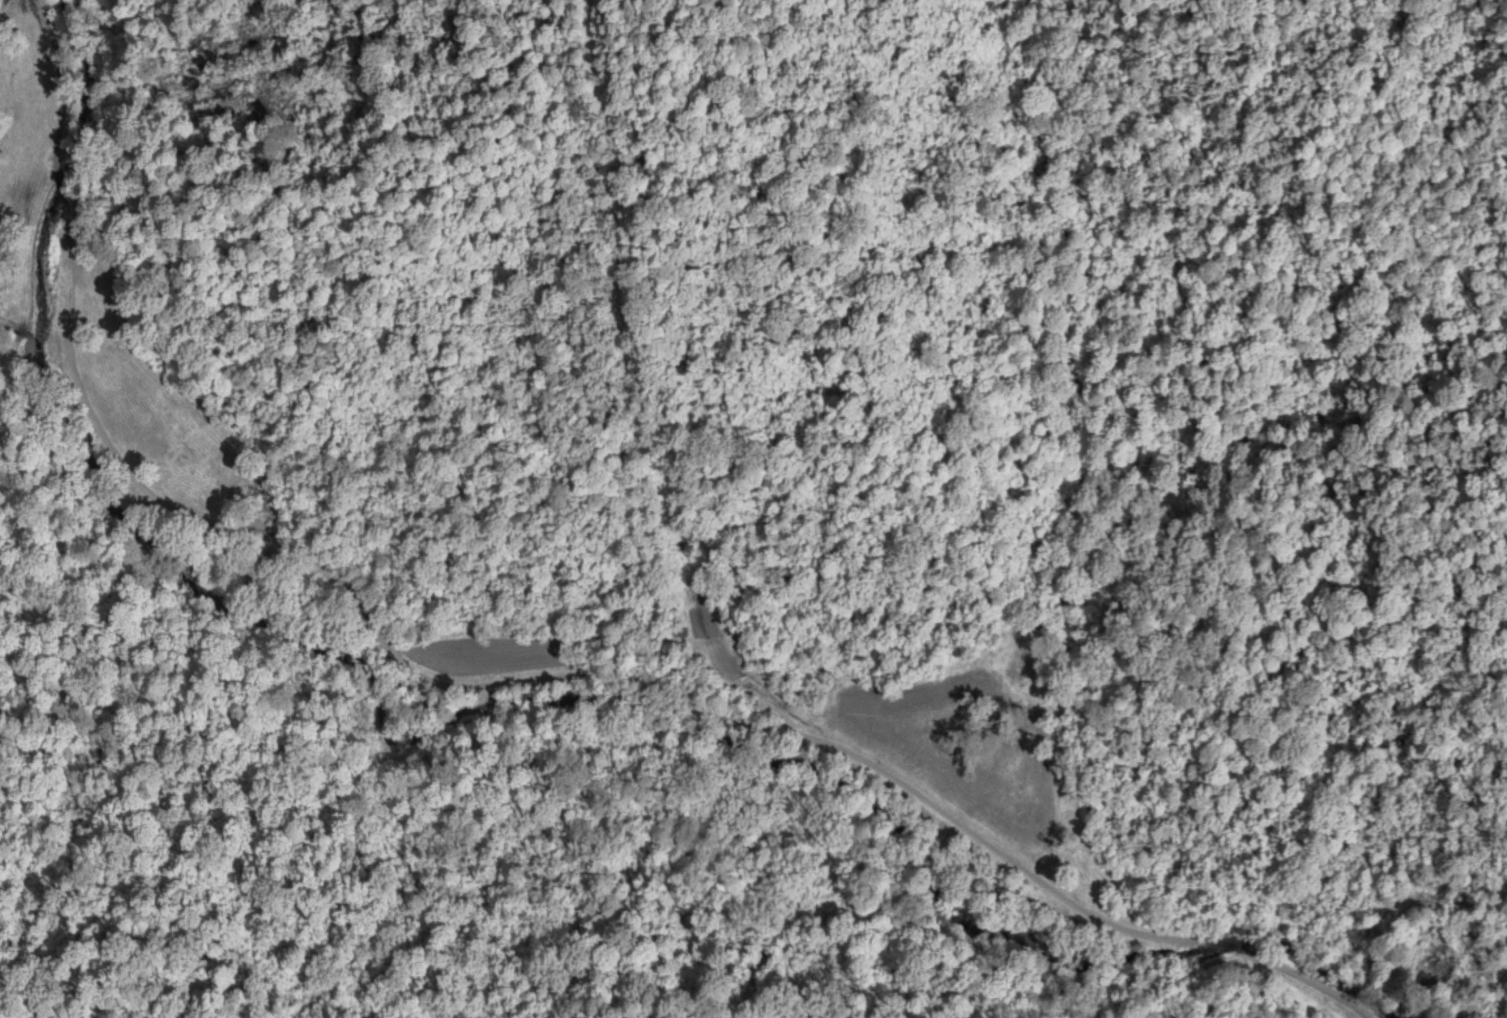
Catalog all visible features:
road: (506, 680)

